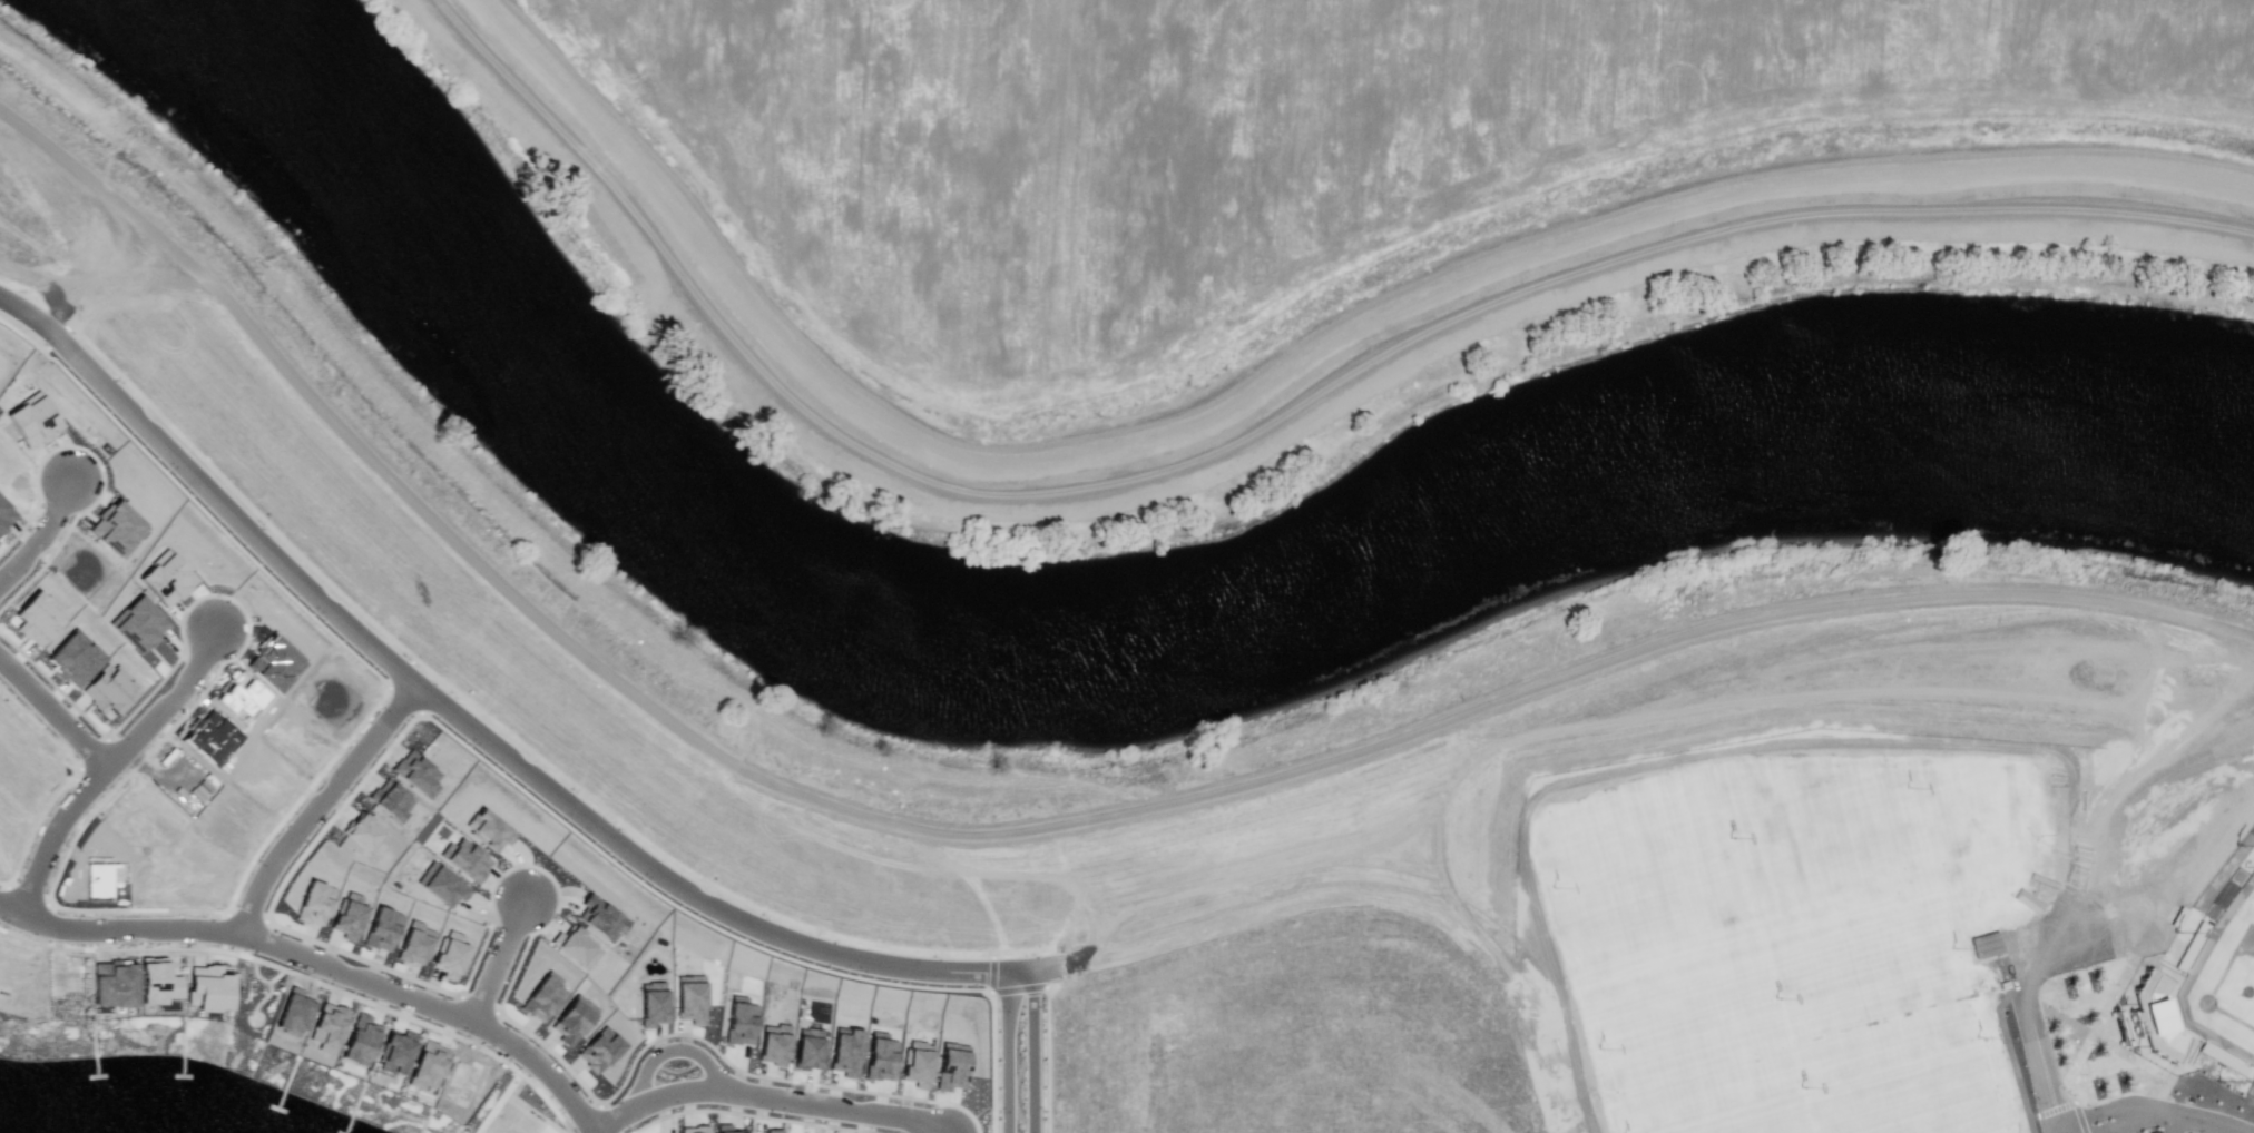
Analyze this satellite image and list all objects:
crop: (1319, 203)
road: (11, 302)
road: (1272, 418)
building: (31, 420)
building: (4, 515)
building: (116, 529)
road: (45, 549)
building: (165, 578)
building: (36, 619)
building: (136, 623)
river: (1125, 633)
building: (73, 658)
building: (274, 664)
building: (108, 689)
building: (241, 699)
road: (175, 713)
road: (56, 721)
road: (482, 736)
building: (212, 738)
building: (415, 774)
building: (390, 799)
road: (320, 807)
building: (488, 829)
road: (1013, 830)
building: (364, 835)
road: (58, 847)
building: (464, 859)
building: (441, 885)
building: (313, 903)
building: (347, 916)
building: (599, 920)
building: (380, 928)
building: (414, 943)
park: (1758, 944)
building: (574, 946)
building: (449, 954)
road: (500, 958)
road: (323, 965)
park: (2201, 979)
building: (111, 984)
building: (158, 986)
building: (207, 988)
building: (542, 997)
building: (689, 998)
building: (651, 1004)
building: (291, 1012)
building: (571, 1019)
building: (738, 1021)
building: (326, 1026)
building: (359, 1040)
building: (772, 1044)
building: (807, 1048)
building: (598, 1050)
building: (844, 1051)
road: (1039, 1051)
building: (394, 1052)
road: (670, 1052)
road: (1008, 1053)
building: (879, 1056)
building: (917, 1063)
building: (427, 1066)
building: (950, 1067)
road: (766, 1096)
road: (2169, 1121)
road: (2093, 1122)
road: (2123, 1124)
road: (2172, 1127)
building: (724, 1129)
building: (693, 1130)
building: (771, 1131)

